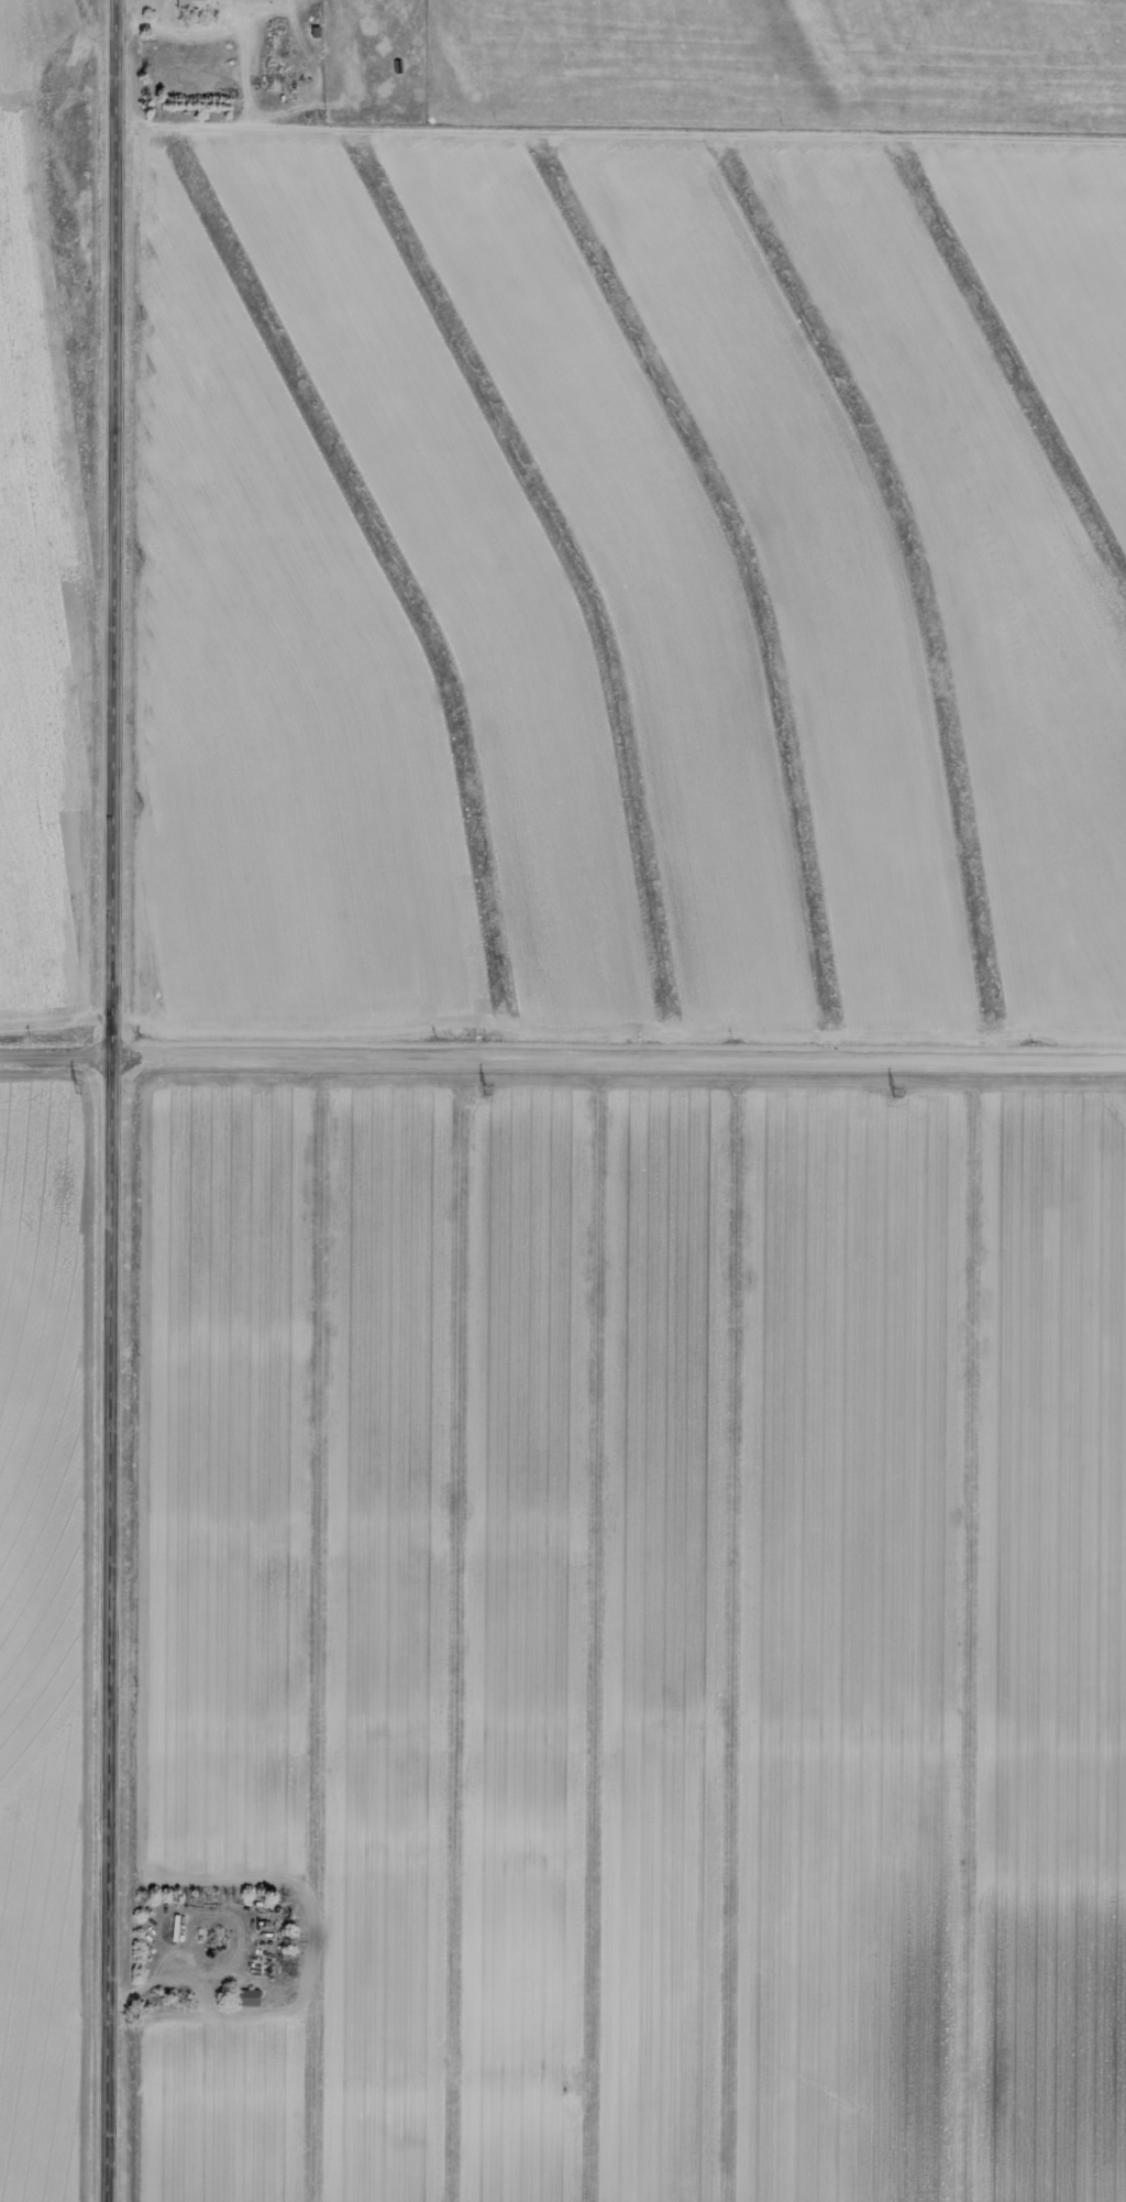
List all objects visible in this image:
building: (191, 6)
road: (563, 1061)
power tower: (70, 1086)
power tower: (479, 1091)
power tower: (890, 1093)
road: (115, 1100)
building: (249, 1998)

